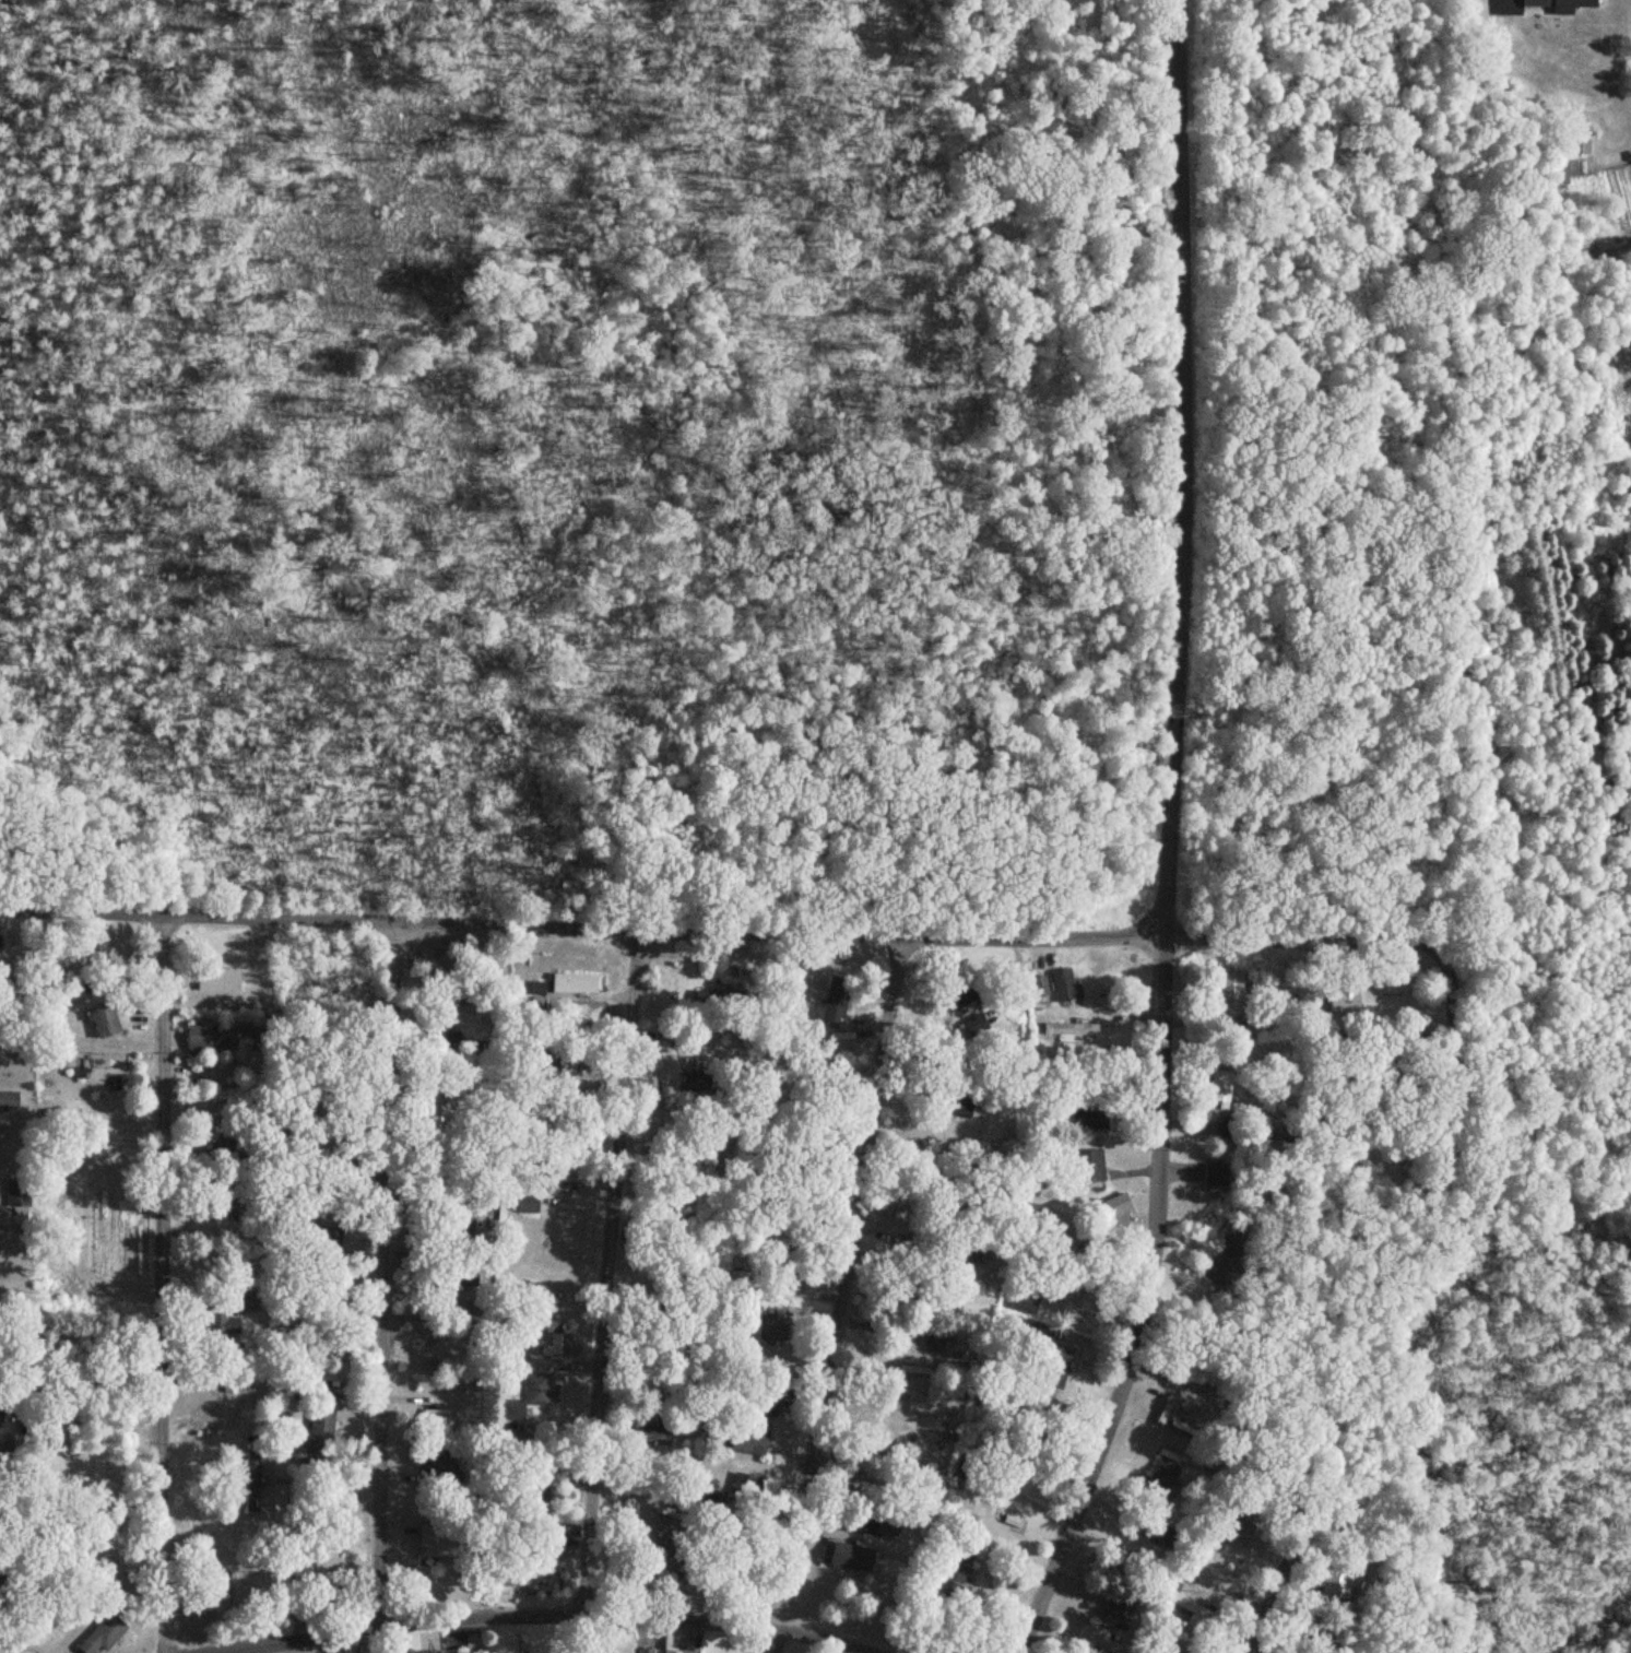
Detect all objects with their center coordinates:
building: (1556, 4)
building: (1580, 141)
building: (1558, 172)
road: (1172, 838)
road: (1160, 921)
road: (721, 924)
road: (402, 956)
building: (217, 980)
building: (575, 983)
building: (1064, 985)
building: (1040, 987)
building: (1232, 993)
building: (832, 1003)
building: (101, 1019)
building: (972, 1026)
building: (1069, 1034)
building: (206, 1038)
building: (103, 1074)
building: (1220, 1089)
road: (1455, 1089)
building: (9, 1101)
building: (958, 1103)
building: (3, 1120)
building: (1089, 1168)
building: (1216, 1179)
building: (531, 1205)
road: (614, 1267)
road: (842, 1276)
building: (460, 1278)
road: (162, 1279)
road: (383, 1313)
building: (224, 1322)
building: (768, 1325)
building: (537, 1392)
building: (772, 1402)
building: (311, 1437)
building: (746, 1438)
building: (441, 1469)
building: (250, 1481)
building: (859, 1523)
building: (428, 1543)
building: (847, 1558)
building: (1220, 1567)
building: (957, 1568)
building: (1351, 1580)
road: (1291, 1585)
building: (1118, 1609)
road: (547, 1616)
building: (101, 1636)
building: (1095, 1639)
building: (645, 1650)
road: (1432, 1651)

